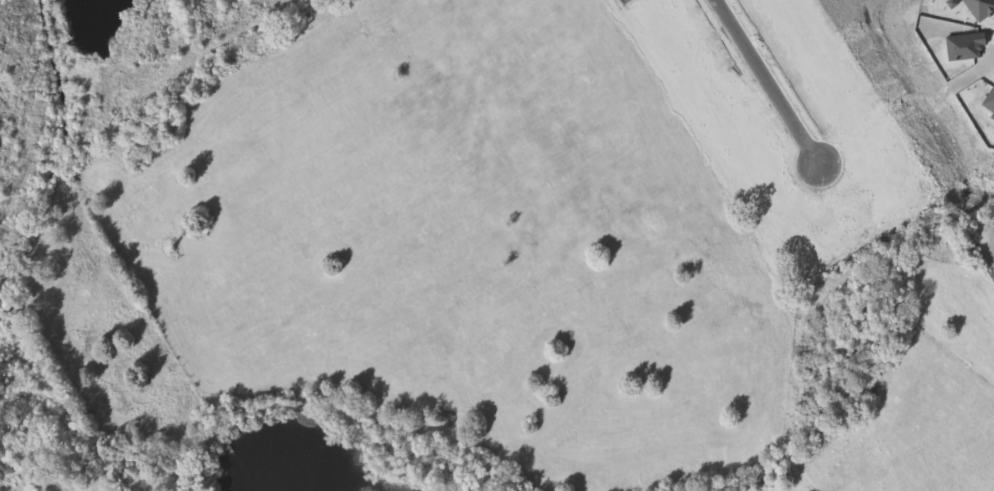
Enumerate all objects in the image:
road: (766, 81)
railway: (50, 108)

